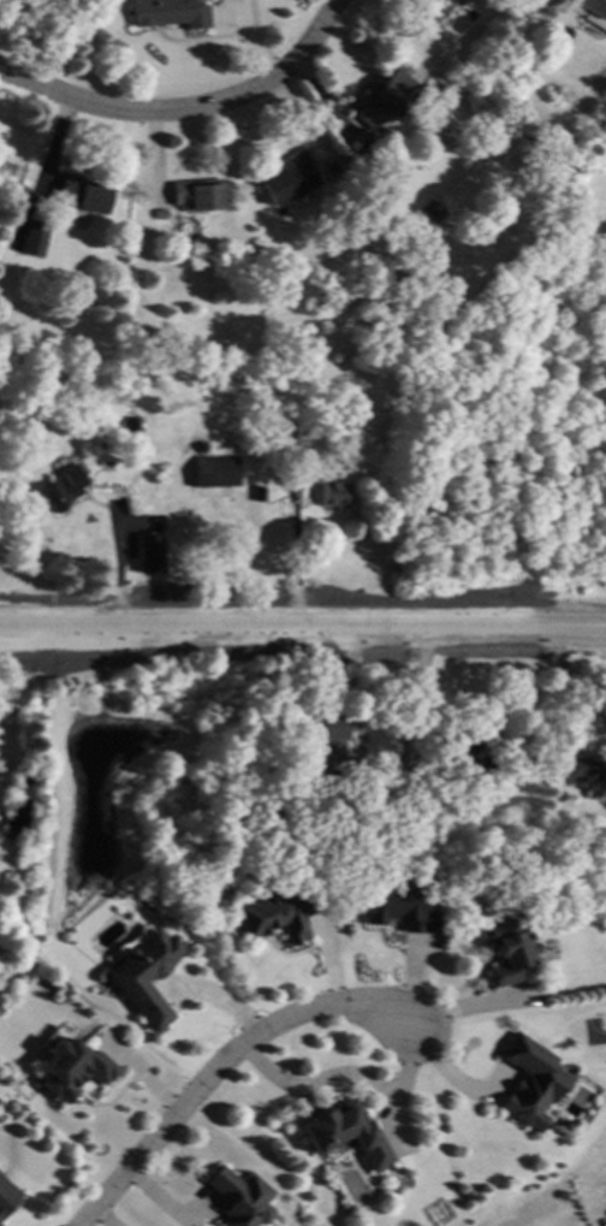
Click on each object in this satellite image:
building: (168, 12)
building: (594, 12)
building: (519, 52)
building: (386, 97)
building: (440, 105)
road: (186, 106)
building: (332, 165)
building: (289, 178)
building: (81, 194)
building: (197, 195)
building: (32, 235)
building: (132, 426)
building: (286, 428)
building: (198, 446)
building: (290, 451)
building: (213, 472)
building: (61, 486)
building: (256, 492)
building: (331, 494)
building: (147, 553)
road: (289, 562)
road: (303, 627)
building: (332, 739)
building: (467, 742)
building: (578, 775)
building: (23, 782)
building: (398, 904)
building: (275, 913)
building: (507, 948)
building: (143, 975)
road: (473, 1005)
road: (216, 1062)
road: (404, 1062)
building: (73, 1067)
road: (339, 1073)
road: (445, 1079)
building: (528, 1082)
building: (340, 1131)
building: (6, 1197)
building: (238, 1198)

